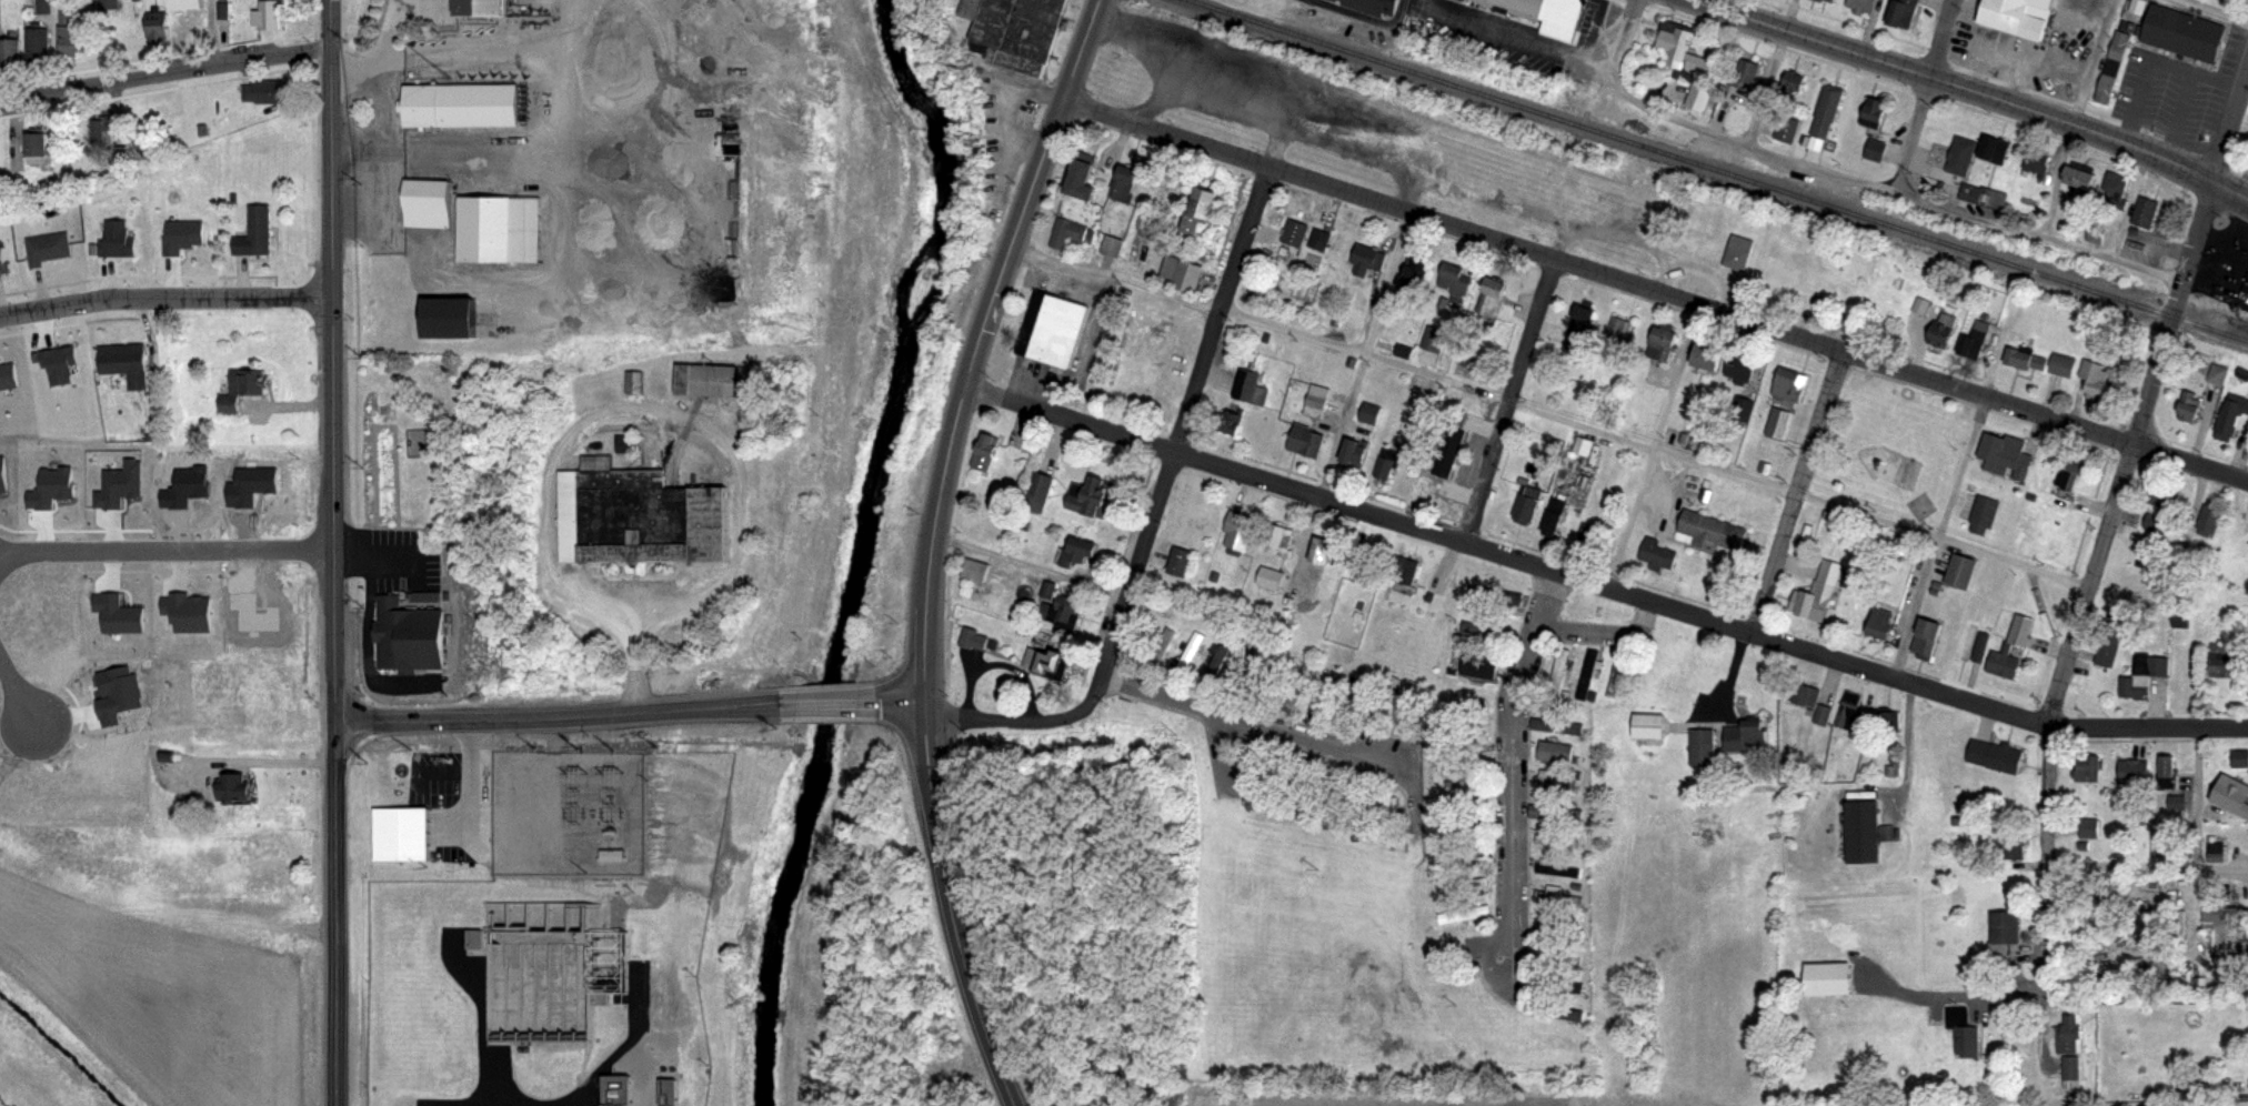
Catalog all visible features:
building: (1824, 1)
building: (1830, 1)
building: (2089, 1)
road: (1439, 2)
building: (184, 3)
building: (1374, 3)
building: (108, 4)
building: (41, 6)
building: (1863, 6)
building: (473, 7)
building: (976, 9)
building: (1544, 11)
building: (1904, 12)
road: (2211, 12)
building: (268, 14)
building: (2017, 14)
building: (158, 24)
building: (2181, 27)
road: (211, 31)
building: (73, 32)
building: (1021, 33)
road: (1529, 37)
building: (39, 46)
building: (9, 50)
building: (1685, 50)
road: (380, 56)
road: (424, 57)
building: (2109, 67)
building: (1747, 70)
road: (163, 71)
road: (1774, 72)
road: (1956, 88)
building: (1789, 89)
building: (268, 92)
building: (1700, 94)
road: (1920, 94)
building: (454, 103)
building: (1826, 110)
building: (1874, 115)
road: (2077, 118)
building: (1787, 130)
building: (106, 132)
building: (39, 144)
building: (1877, 150)
building: (1995, 150)
road: (446, 151)
building: (1963, 155)
building: (2039, 167)
railway: (1719, 170)
road: (1854, 178)
building: (1085, 180)
building: (2083, 180)
building: (1127, 185)
building: (2117, 191)
road: (2231, 194)
building: (1986, 195)
building: (422, 202)
building: (1201, 211)
building: (2146, 212)
building: (492, 228)
road: (564, 231)
building: (255, 233)
building: (1067, 233)
building: (1296, 233)
building: (184, 235)
building: (117, 238)
building: (1319, 239)
building: (1111, 245)
building: (48, 248)
building: (1740, 252)
building: (1368, 260)
building: (4, 262)
building: (1408, 270)
building: (1182, 273)
road: (1120, 274)
building: (1415, 281)
building: (1455, 282)
building: (2245, 285)
road: (1656, 292)
road: (165, 299)
building: (1492, 299)
building: (1053, 330)
building: (1944, 330)
building: (1582, 331)
building: (1622, 333)
building: (1975, 338)
building: (1434, 340)
road: (980, 342)
building: (1663, 345)
road: (1365, 355)
road: (333, 358)
building: (1710, 359)
building: (2027, 360)
building: (59, 362)
building: (126, 363)
building: (2063, 365)
building: (704, 373)
building: (1744, 374)
building: (2220, 374)
building: (8, 376)
building: (2098, 379)
building: (630, 382)
building: (250, 383)
building: (1792, 385)
building: (1252, 388)
road: (2146, 396)
road: (1509, 401)
building: (1319, 402)
building: (2190, 408)
building: (1738, 409)
building: (1373, 414)
building: (2232, 414)
road: (681, 419)
building: (1233, 423)
building: (1779, 424)
road: (1182, 433)
building: (1308, 441)
park: (1891, 445)
building: (1579, 446)
road: (1655, 446)
road: (1654, 452)
building: (1354, 453)
building: (986, 454)
building: (2007, 456)
building: (1389, 463)
building: (2, 473)
building: (2071, 473)
building: (119, 484)
building: (251, 484)
building: (185, 485)
building: (1435, 485)
building: (50, 486)
road: (1797, 491)
building: (1037, 494)
building: (1093, 497)
building: (2166, 500)
building: (1529, 504)
building: (636, 506)
building: (1984, 514)
building: (1556, 516)
building: (1195, 520)
building: (2211, 520)
building: (2157, 525)
building: (1242, 532)
building: (1714, 532)
road: (1938, 536)
building: (1588, 537)
building: (1279, 541)
river: (860, 544)
road: (167, 547)
building: (1328, 552)
building: (1080, 553)
building: (1658, 554)
parking lot: (389, 557)
building: (1181, 563)
building: (1365, 570)
building: (1403, 571)
building: (976, 572)
building: (1963, 573)
building: (1272, 579)
road: (1602, 584)
building: (1819, 595)
building: (1497, 596)
building: (252, 612)
building: (1063, 612)
building: (188, 613)
building: (118, 614)
building: (1884, 624)
building: (1488, 631)
road: (1605, 631)
building: (2021, 631)
building: (405, 633)
building: (1929, 639)
building: (977, 641)
building: (2109, 641)
building: (1967, 644)
building: (1162, 648)
building: (1207, 651)
building: (1190, 655)
building: (2224, 658)
building: (2005, 662)
building: (1045, 663)
building: (2150, 664)
building: (1214, 667)
building: (1476, 668)
building: (1560, 670)
building: (1588, 673)
building: (1240, 674)
building: (1617, 674)
building: (1269, 684)
building: (1301, 686)
building: (2135, 690)
road: (18, 692)
building: (116, 693)
building: (1806, 693)
building: (1288, 696)
building: (1325, 696)
building: (1369, 696)
road: (904, 698)
road: (826, 700)
building: (1385, 701)
building: (1353, 704)
building: (1851, 708)
building: (1411, 710)
building: (1468, 711)
road: (554, 712)
building: (1825, 714)
road: (1013, 715)
building: (1888, 722)
road: (1285, 725)
building: (1558, 725)
building: (1650, 725)
building: (1748, 734)
building: (1466, 741)
building: (1704, 746)
building: (1558, 751)
building: (1993, 753)
road: (280, 757)
building: (2237, 757)
building: (2086, 767)
road: (463, 770)
building: (1252, 770)
building: (1467, 770)
building: (2130, 770)
building: (2164, 771)
road: (1514, 780)
building: (232, 781)
building: (1277, 781)
building: (1556, 781)
building: (1304, 790)
building: (2230, 792)
building: (1333, 797)
building: (1467, 797)
road: (2197, 798)
building: (2174, 802)
power substation: (566, 804)
building: (1359, 810)
building: (1558, 812)
building: (1388, 813)
building: (401, 825)
building: (1466, 827)
building: (1865, 827)
building: (2086, 827)
building: (1558, 839)
building: (2007, 848)
building: (2215, 849)
building: (1468, 855)
building: (1557, 867)
road: (2147, 867)
building: (1468, 885)
road: (2045, 894)
building: (1560, 896)
road: (952, 906)
road: (338, 912)
building: (1469, 914)
building: (1560, 923)
building: (2001, 926)
building: (2221, 933)
building: (1560, 955)
building: (1829, 978)
building: (548, 982)
building: (1562, 984)
crop: (142, 986)
wastewater plant: (534, 992)
road: (1960, 997)
building: (1560, 1012)
building: (1966, 1032)
building: (2069, 1035)
building: (2070, 1072)

